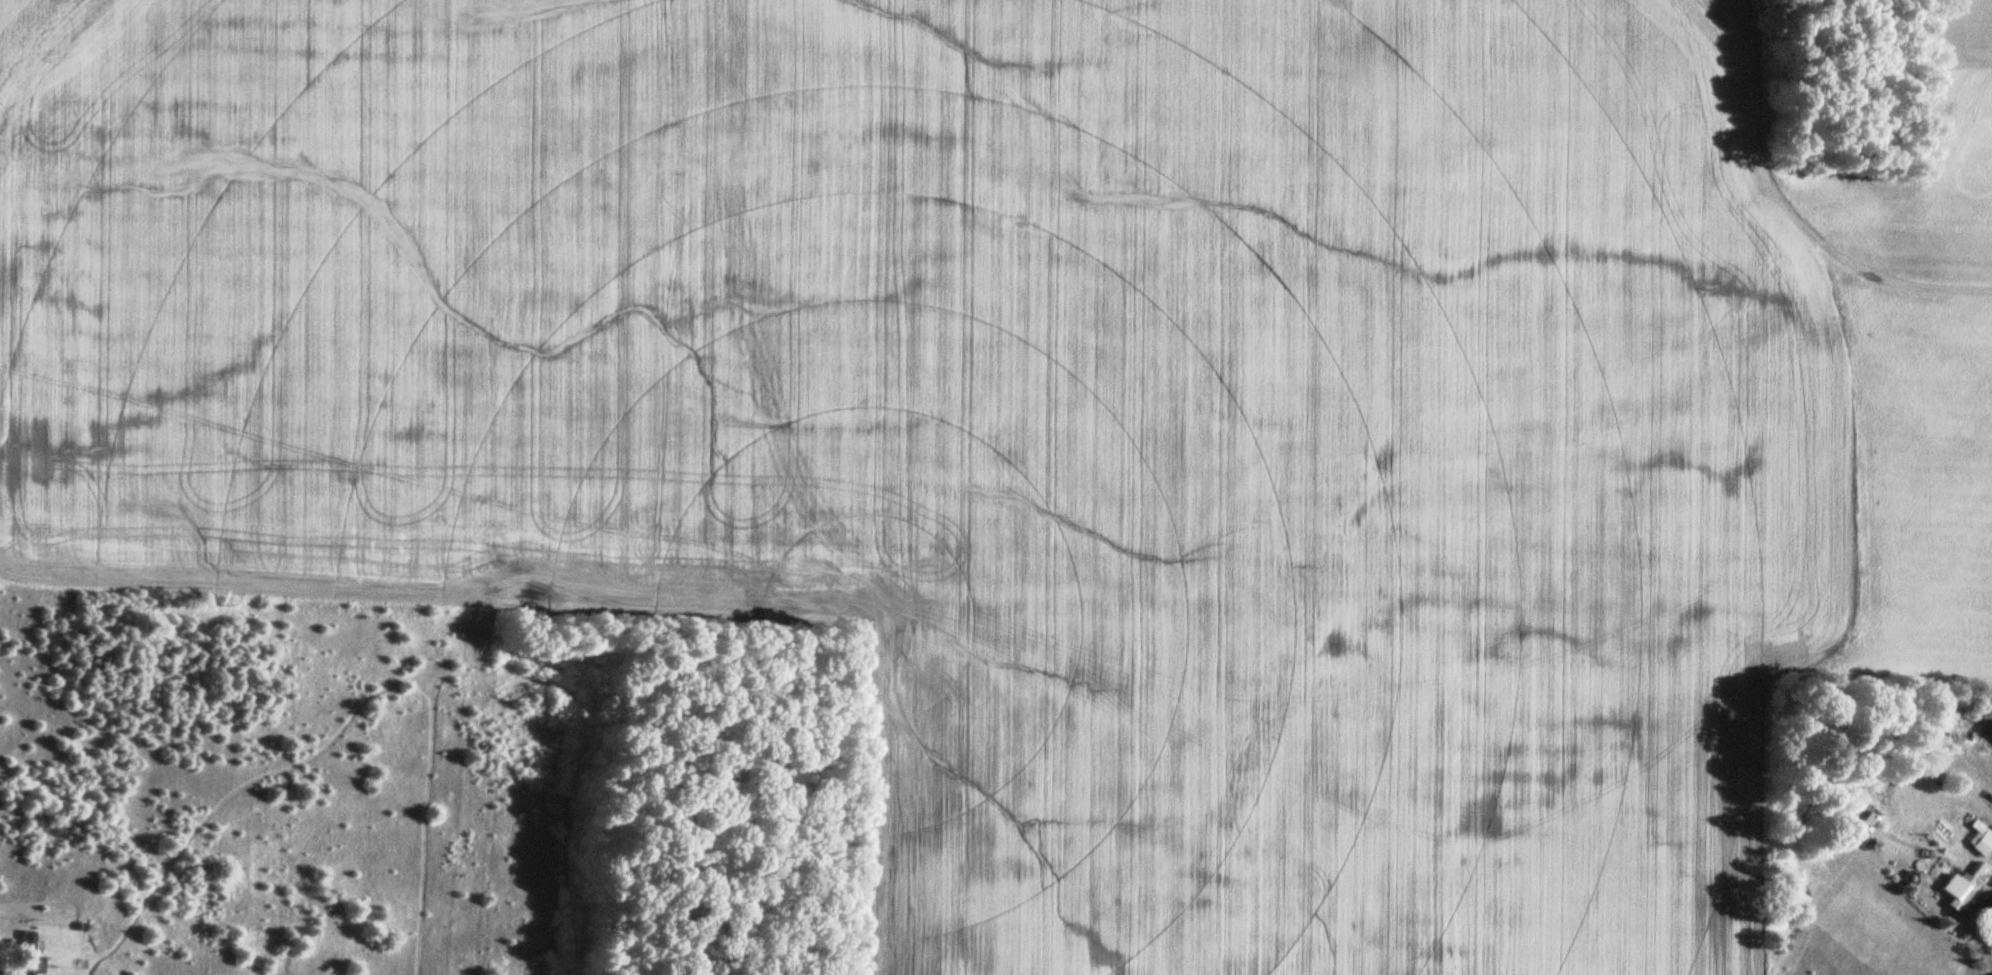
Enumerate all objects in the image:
building: (1977, 848)
building: (1948, 887)
building: (27, 956)

